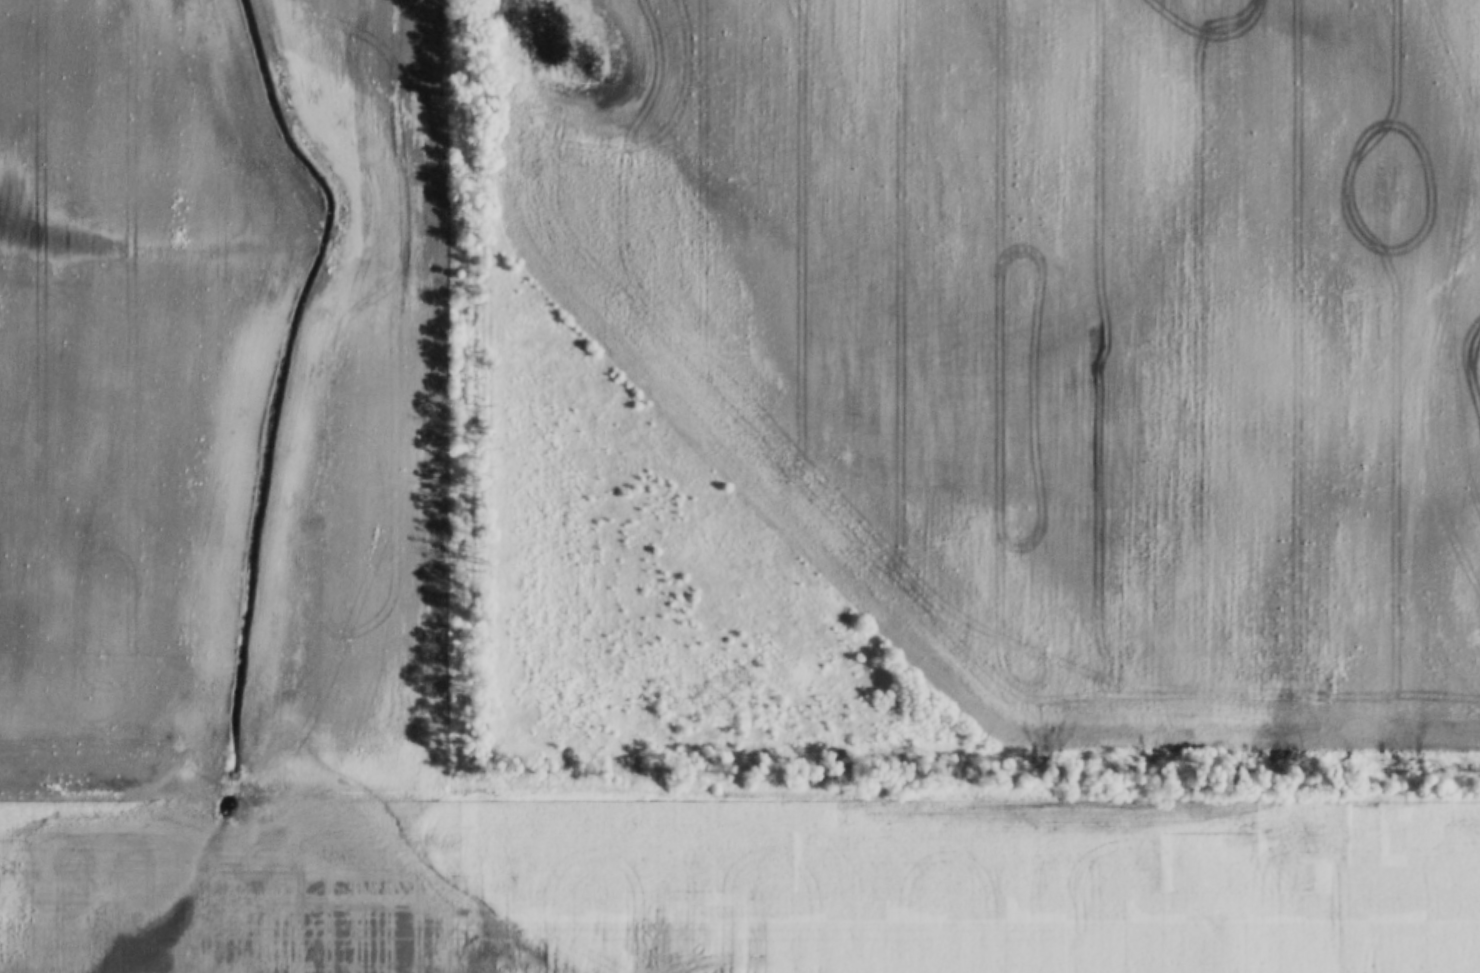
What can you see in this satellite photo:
river: (52, 943)
river: (265, 943)

